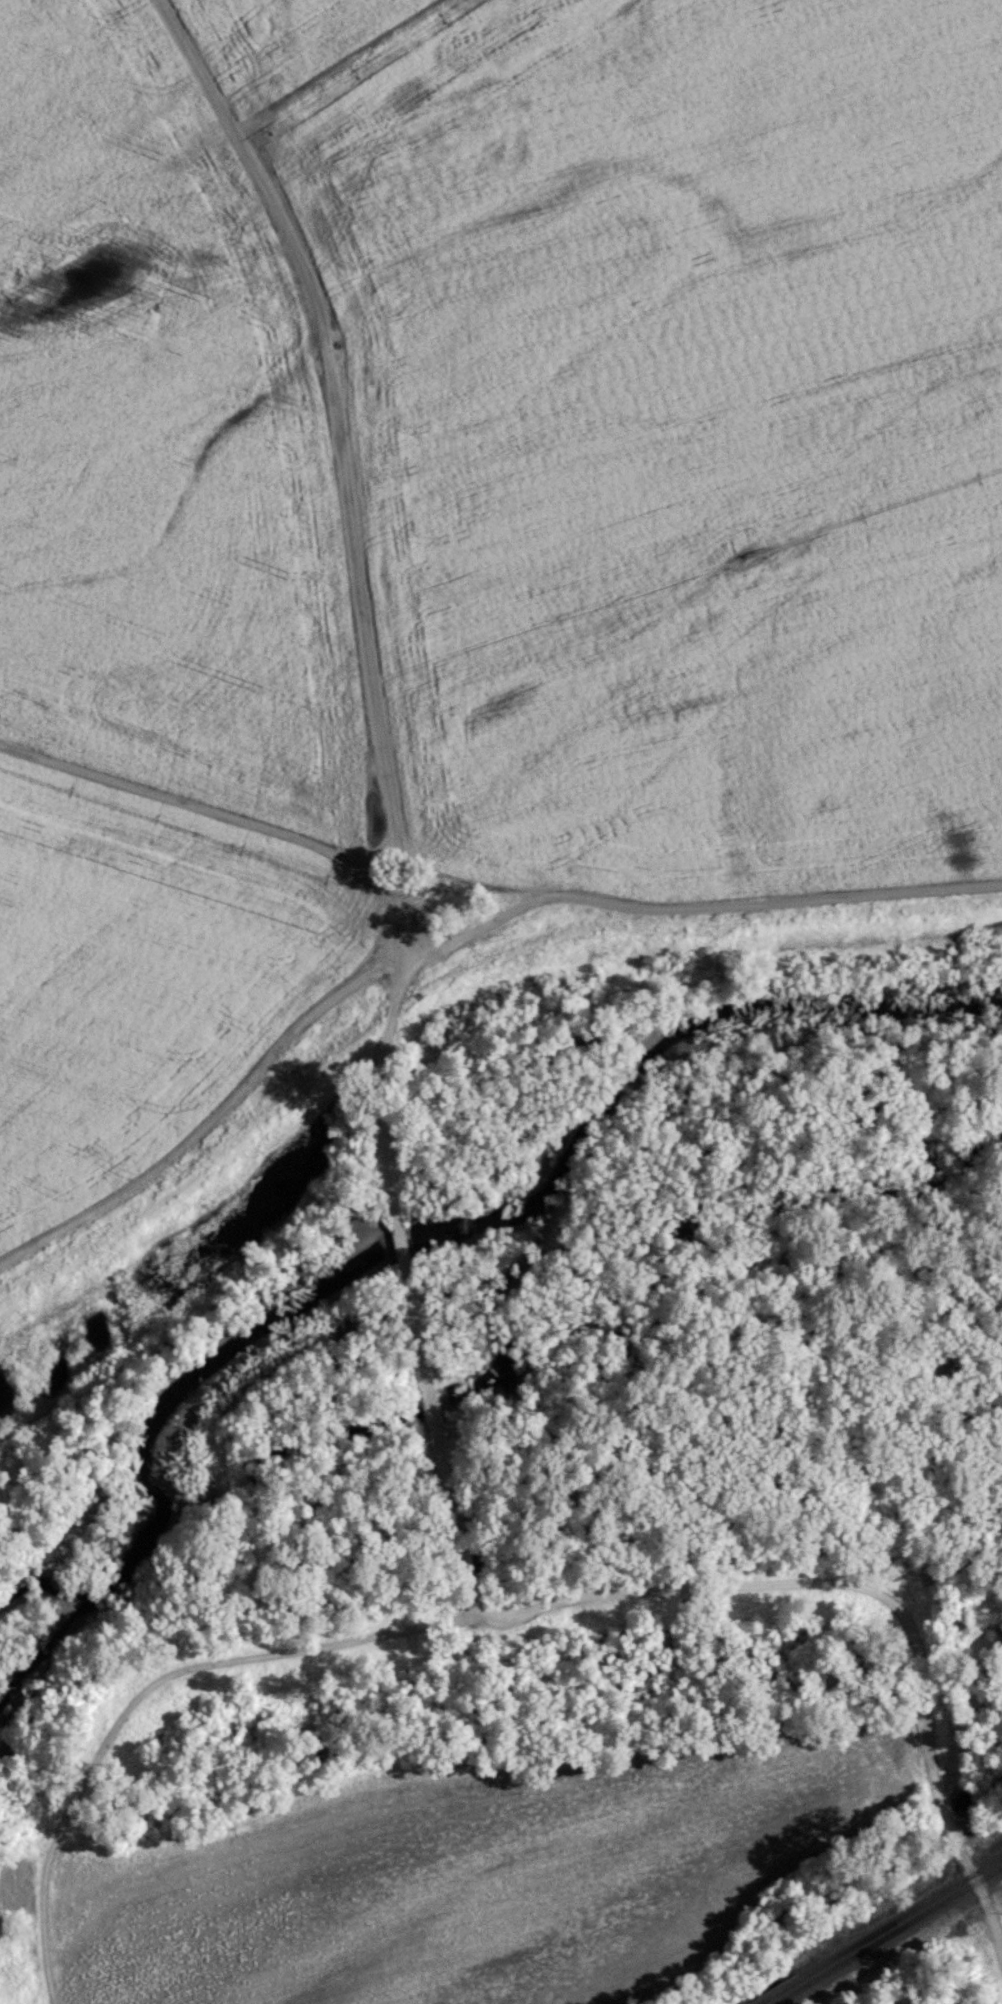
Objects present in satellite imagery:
road: (955, 1839)
railway: (881, 1930)
railway: (890, 1936)
road: (905, 1954)

